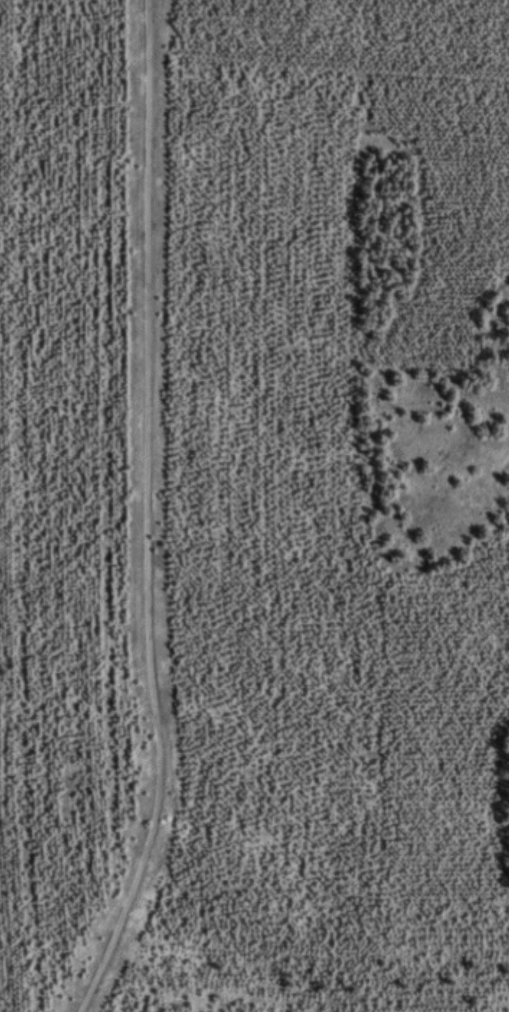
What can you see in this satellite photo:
road: (330, 59)
road: (147, 513)
road: (312, 948)

